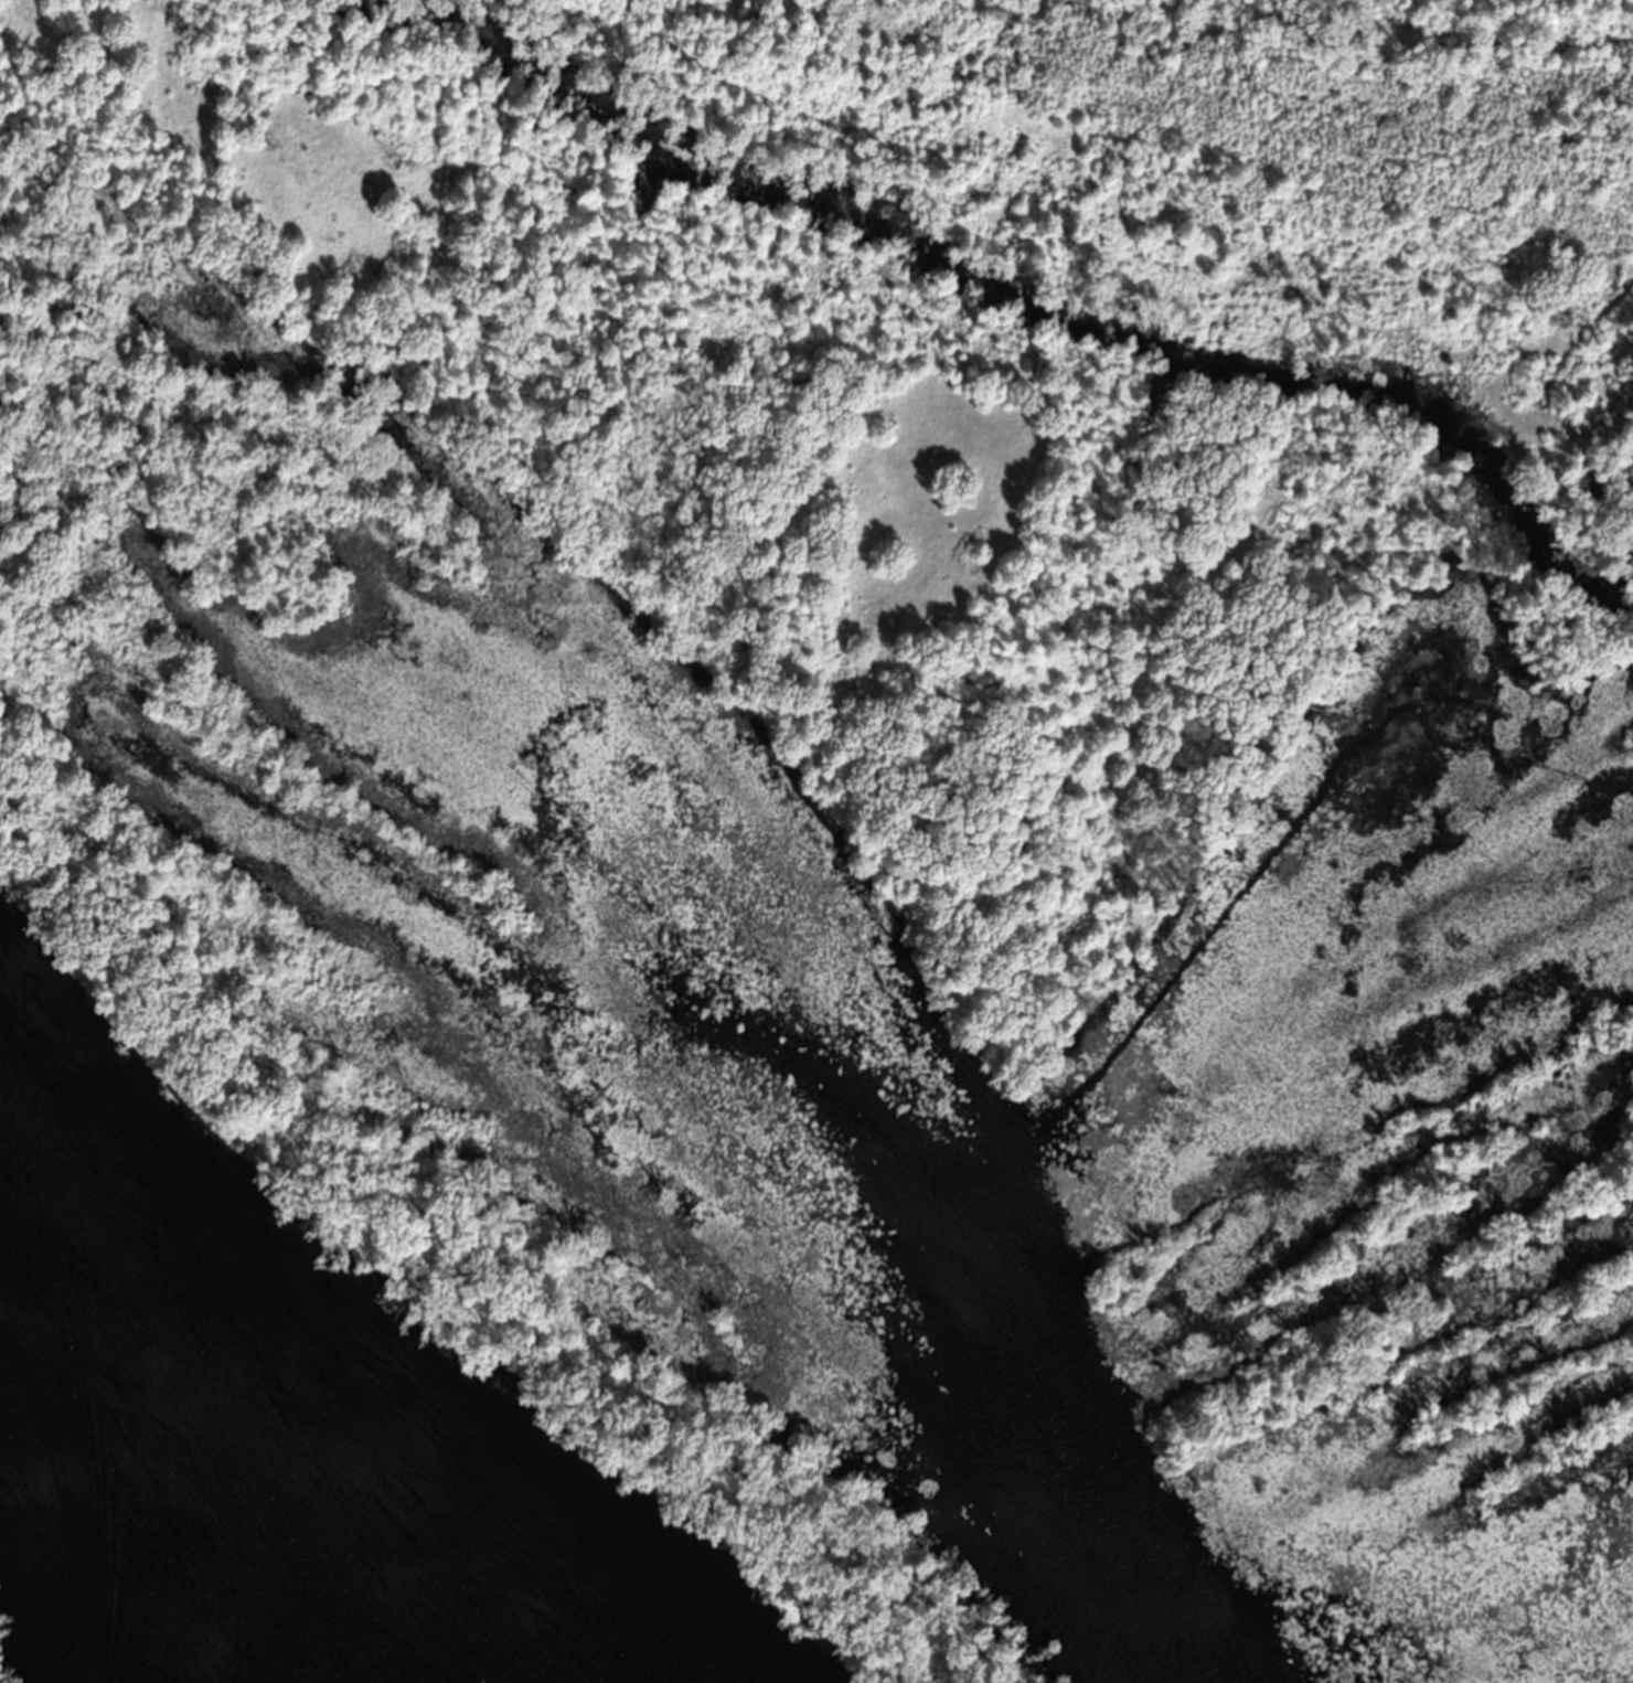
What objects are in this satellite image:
river: (150, 1426)

